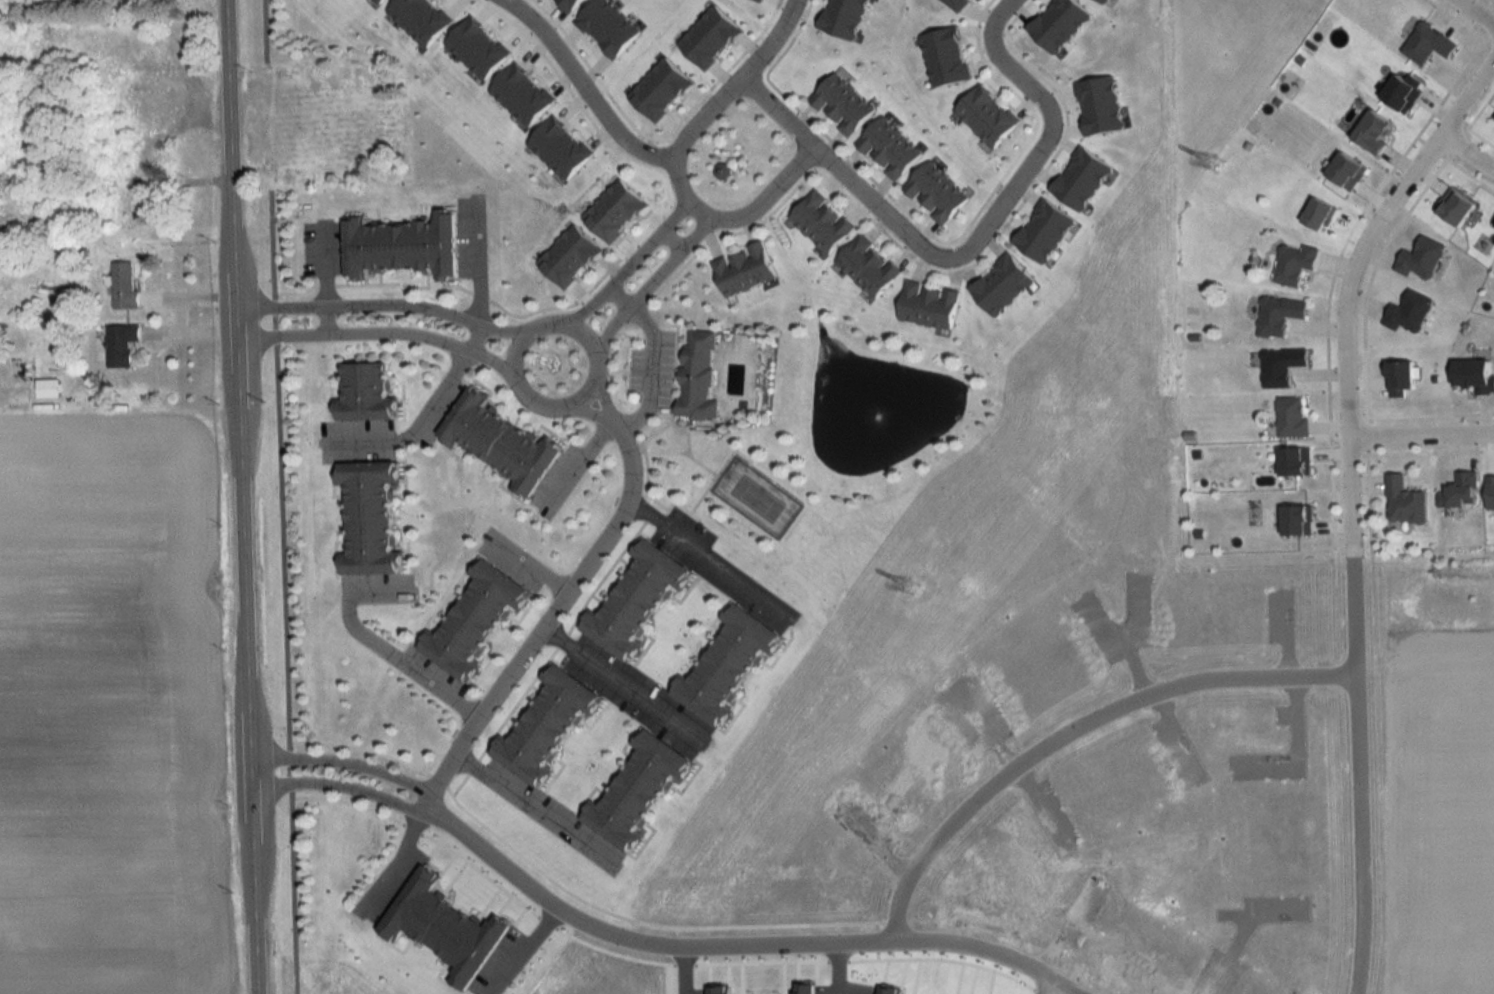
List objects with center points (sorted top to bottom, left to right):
road: (1475, 13)
building: (1428, 44)
road: (582, 88)
building: (134, 100)
building: (841, 104)
building: (155, 105)
building: (986, 116)
building: (116, 132)
road: (1044, 137)
building: (887, 149)
road: (1467, 150)
road: (674, 160)
power tower: (1218, 164)
road: (837, 171)
building: (103, 183)
building: (935, 193)
building: (124, 209)
building: (613, 211)
building: (820, 222)
road: (667, 241)
building: (401, 246)
building: (567, 256)
building: (1421, 259)
road: (627, 262)
road: (475, 263)
building: (1295, 264)
building: (867, 266)
building: (743, 269)
road: (649, 282)
building: (1000, 285)
building: (124, 287)
road: (381, 303)
building: (927, 305)
building: (1409, 312)
building: (1279, 315)
road: (324, 320)
road: (376, 333)
building: (120, 345)
road: (649, 357)
building: (1281, 366)
building: (697, 376)
building: (1401, 379)
road: (519, 386)
building: (47, 388)
building: (365, 393)
road: (599, 399)
road: (586, 411)
road: (426, 418)
building: (1292, 418)
road: (1422, 433)
building: (498, 442)
building: (1297, 462)
building: (1461, 492)
road: (241, 497)
park: (755, 498)
road: (1351, 500)
building: (1405, 502)
building: (368, 517)
building: (1297, 521)
road: (710, 559)
road: (526, 568)
power tower: (909, 588)
building: (635, 600)
road: (555, 613)
building: (473, 620)
road: (395, 659)
building: (726, 665)
road: (623, 685)
crop: (109, 708)
building: (546, 725)
road: (1077, 731)
road: (342, 762)
road: (340, 788)
building: (635, 793)
road: (534, 807)
crop: (1440, 814)
road: (737, 935)
road: (833, 964)
road: (680, 965)
road: (407, 966)
road: (1046, 985)

